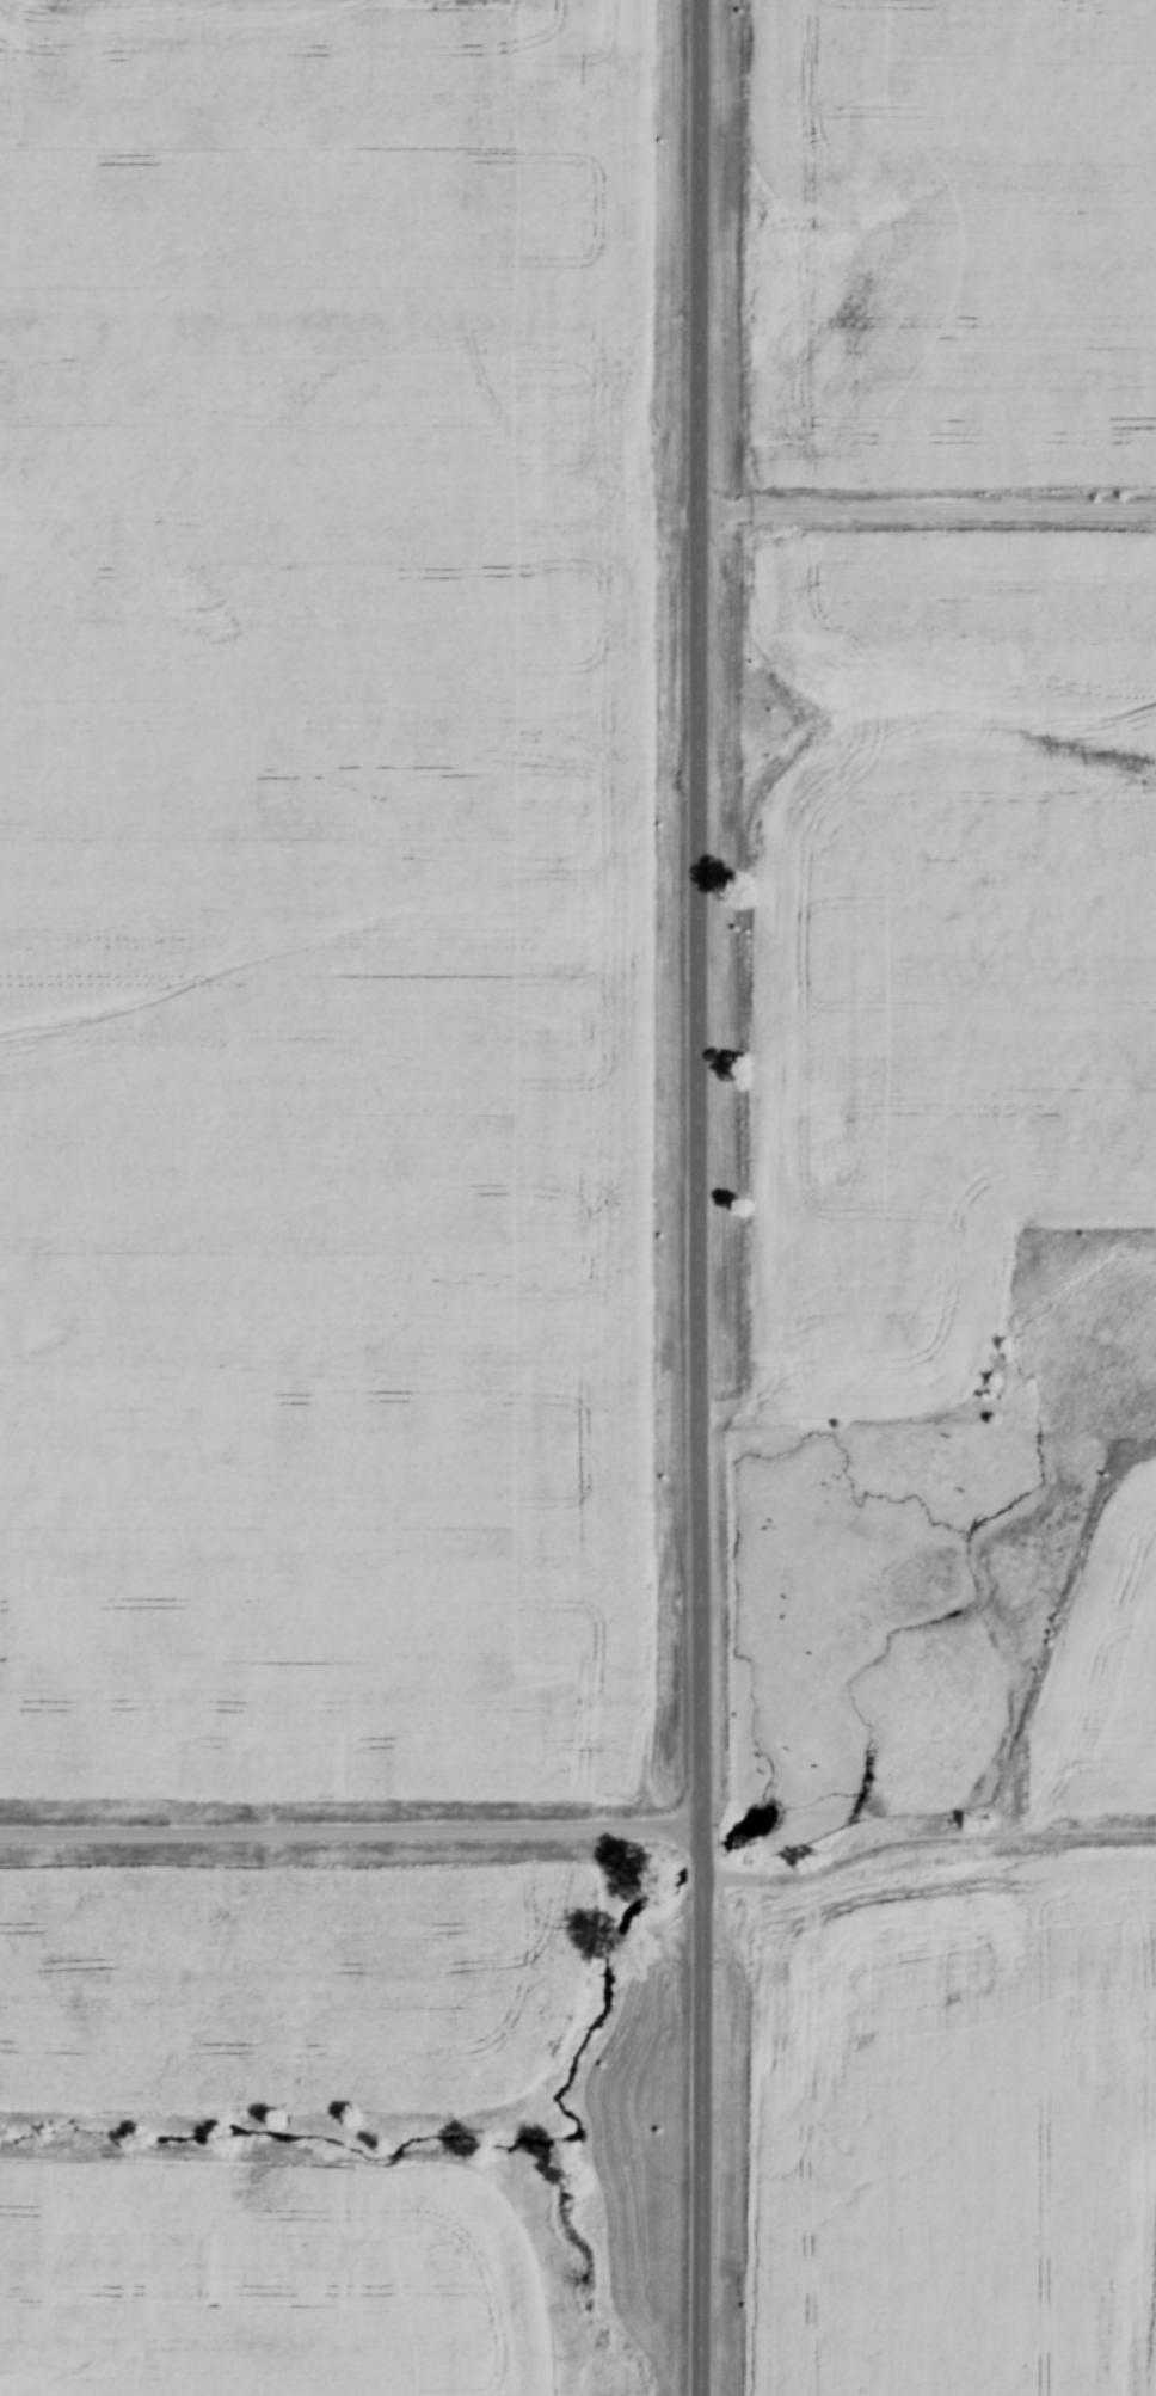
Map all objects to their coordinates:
road: (926, 504)
road: (695, 1198)
road: (351, 1825)
road: (927, 1838)

